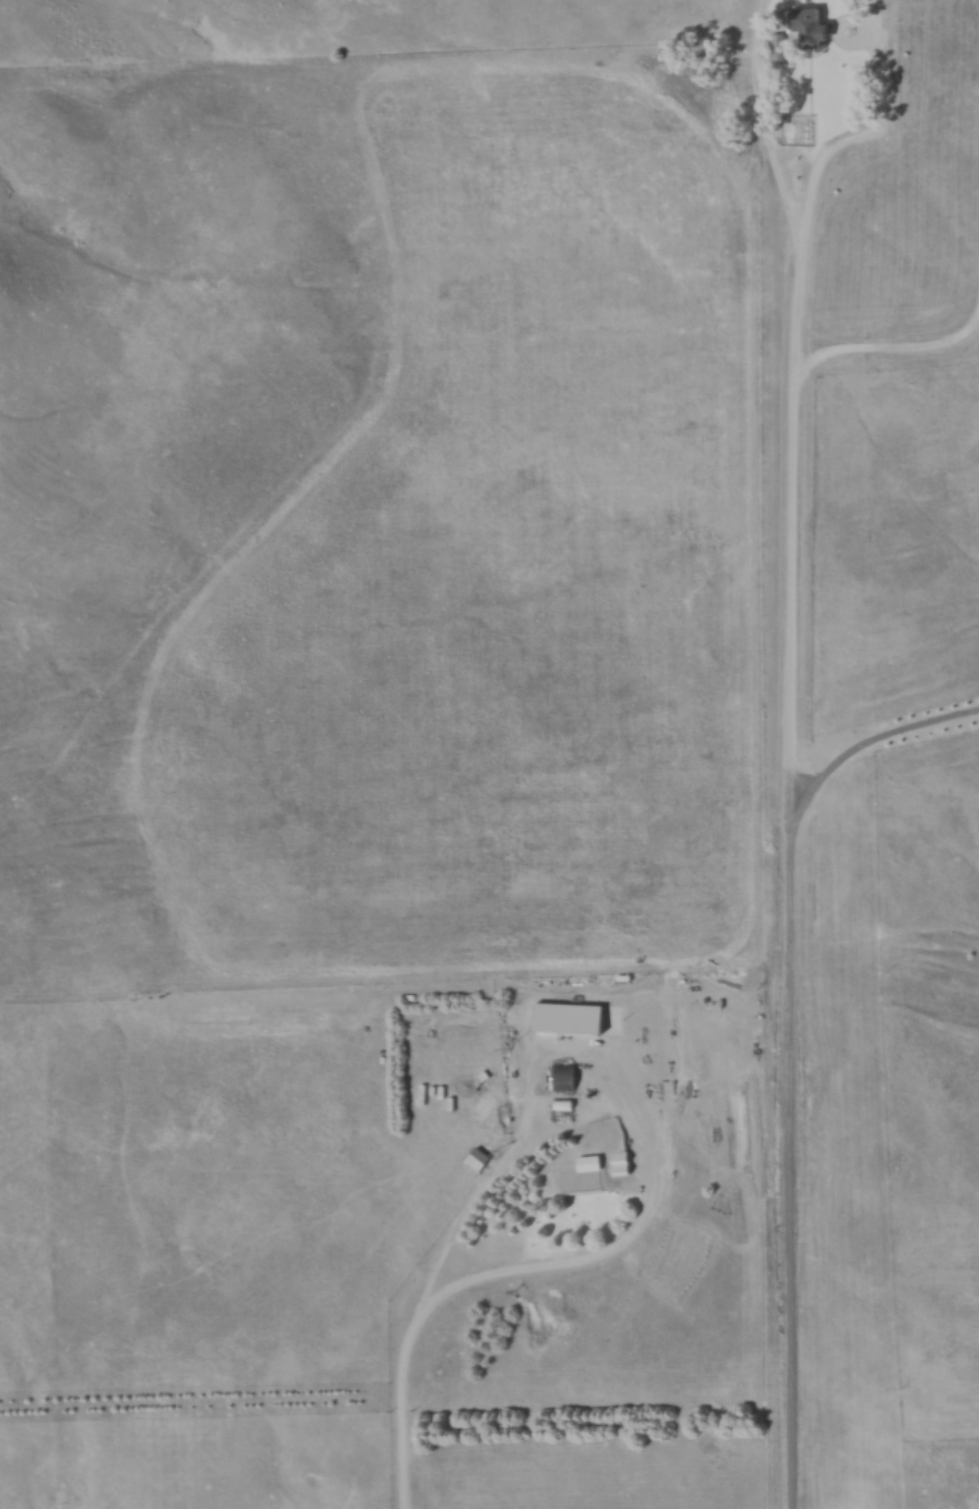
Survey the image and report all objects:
building: (818, 28)
building: (782, 46)
road: (788, 788)
building: (569, 1076)
building: (625, 1161)
building: (589, 1173)
road: (516, 1275)

